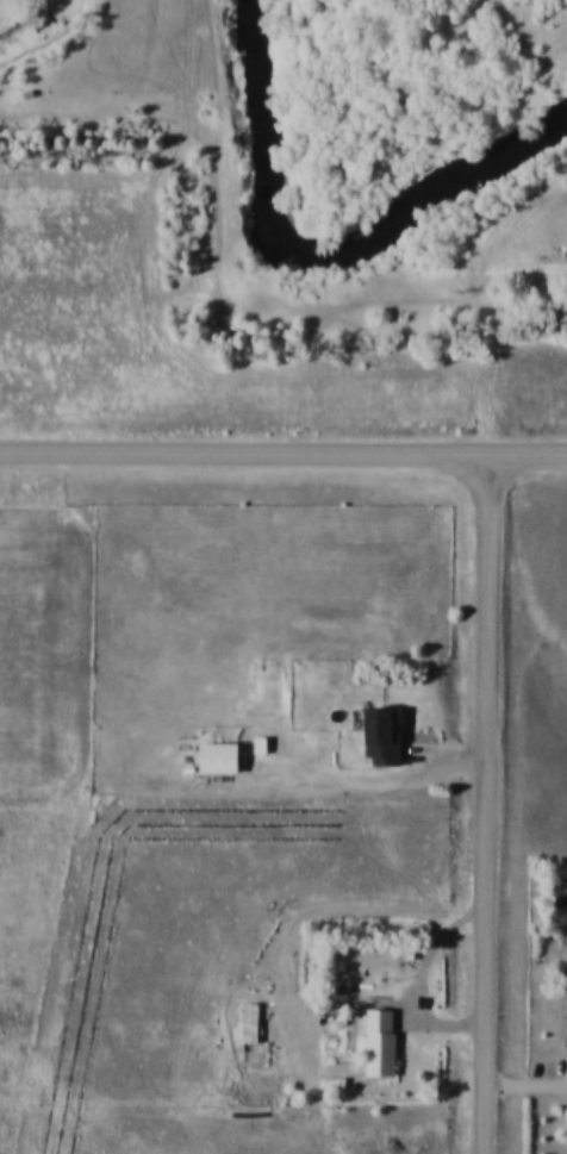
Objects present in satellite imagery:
river: (322, 254)
road: (283, 450)
building: (378, 736)
building: (214, 756)
road: (491, 801)
building: (559, 888)
building: (245, 1030)
building: (378, 1041)

